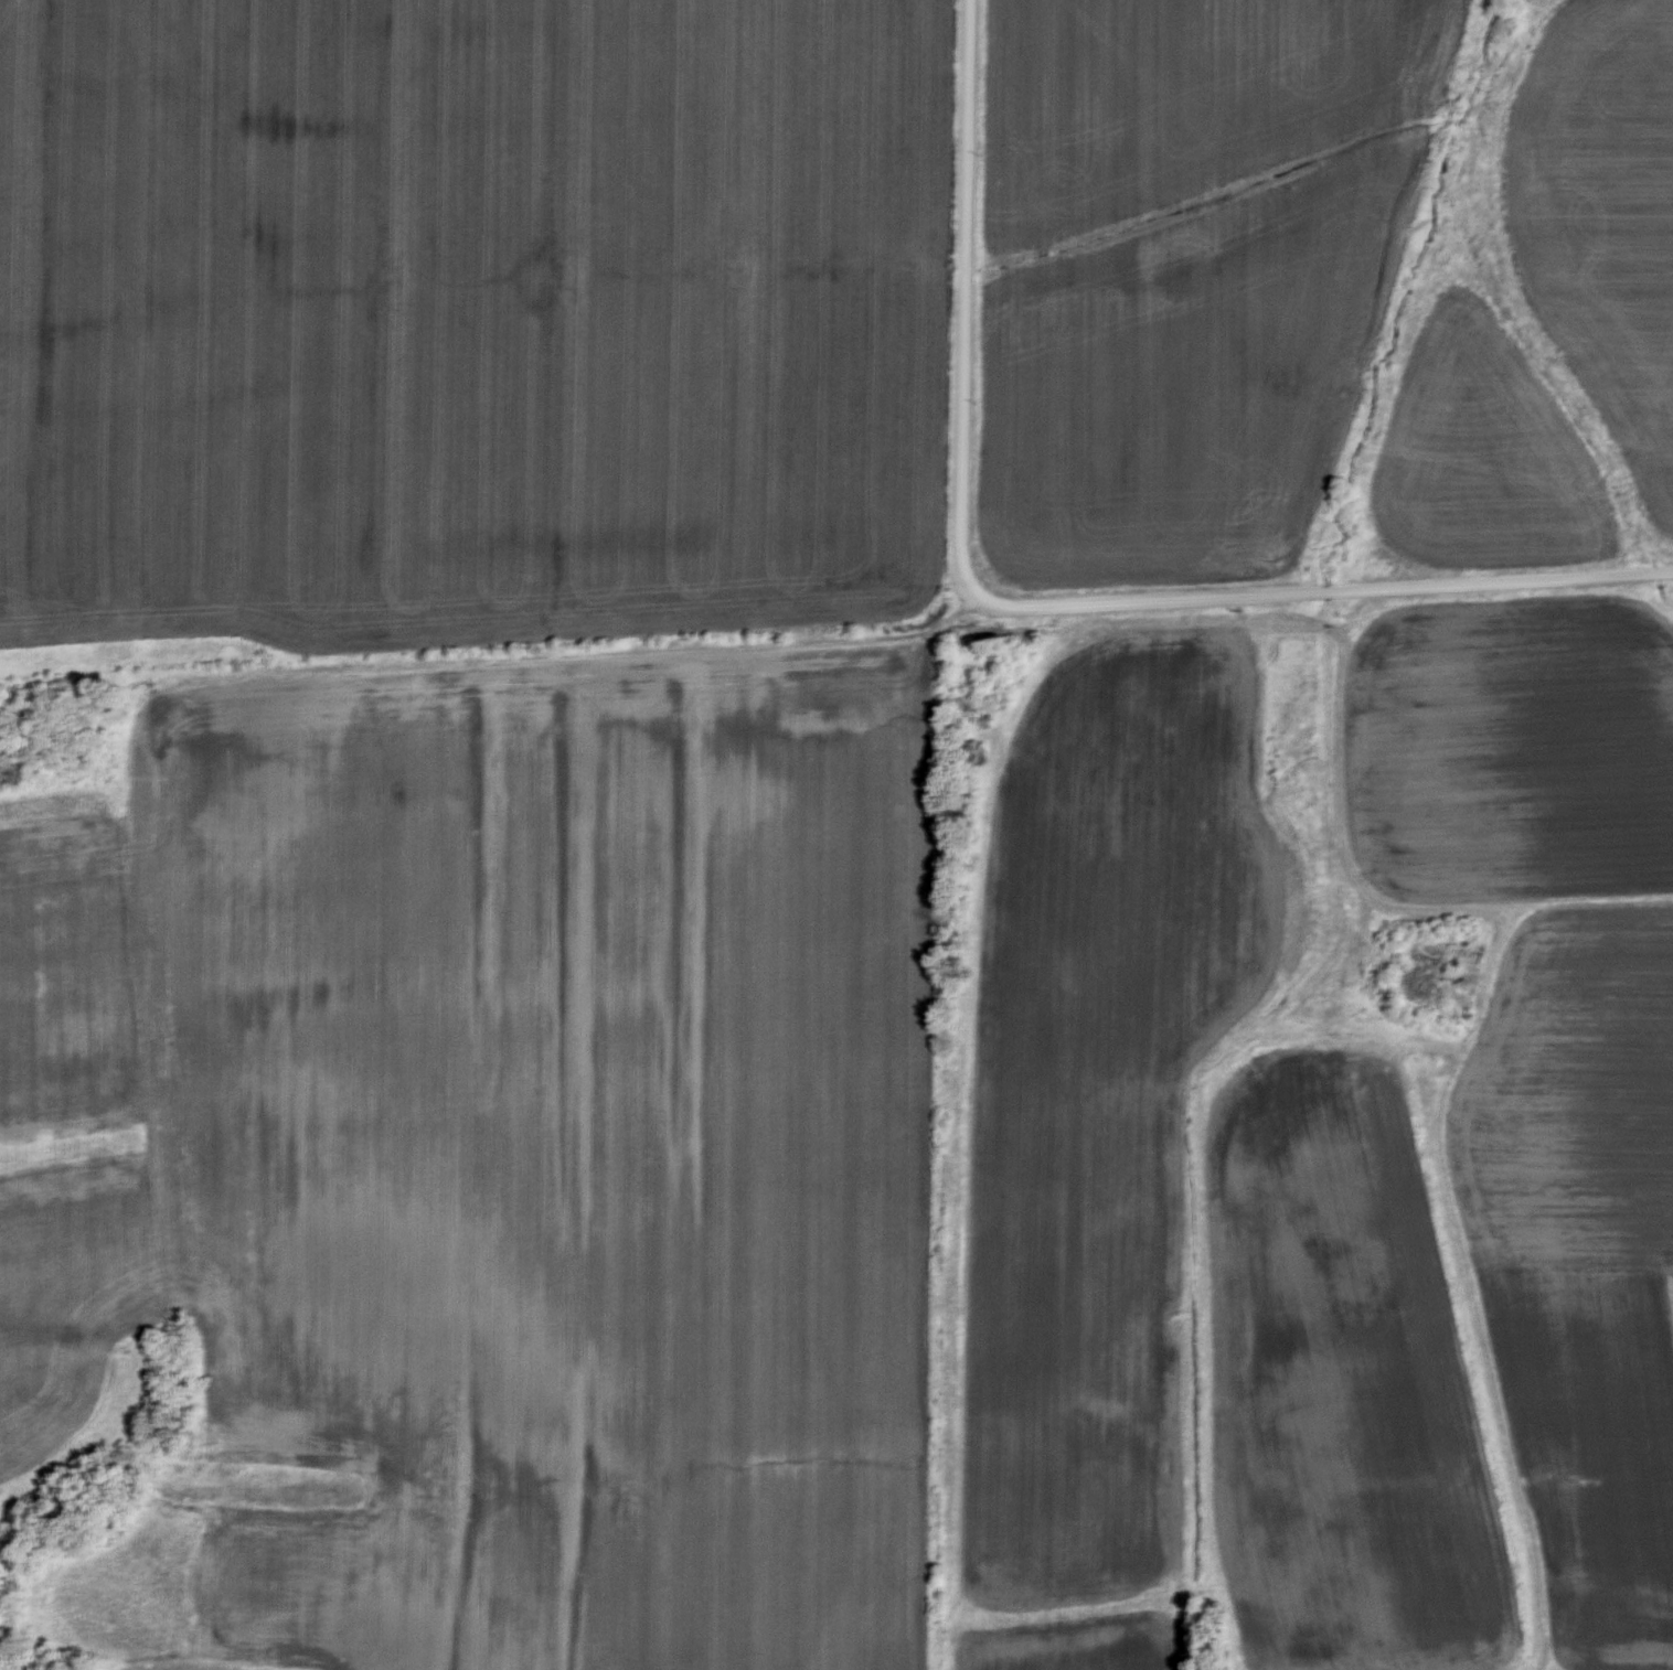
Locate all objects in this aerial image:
road: (1022, 611)
building: (991, 666)

